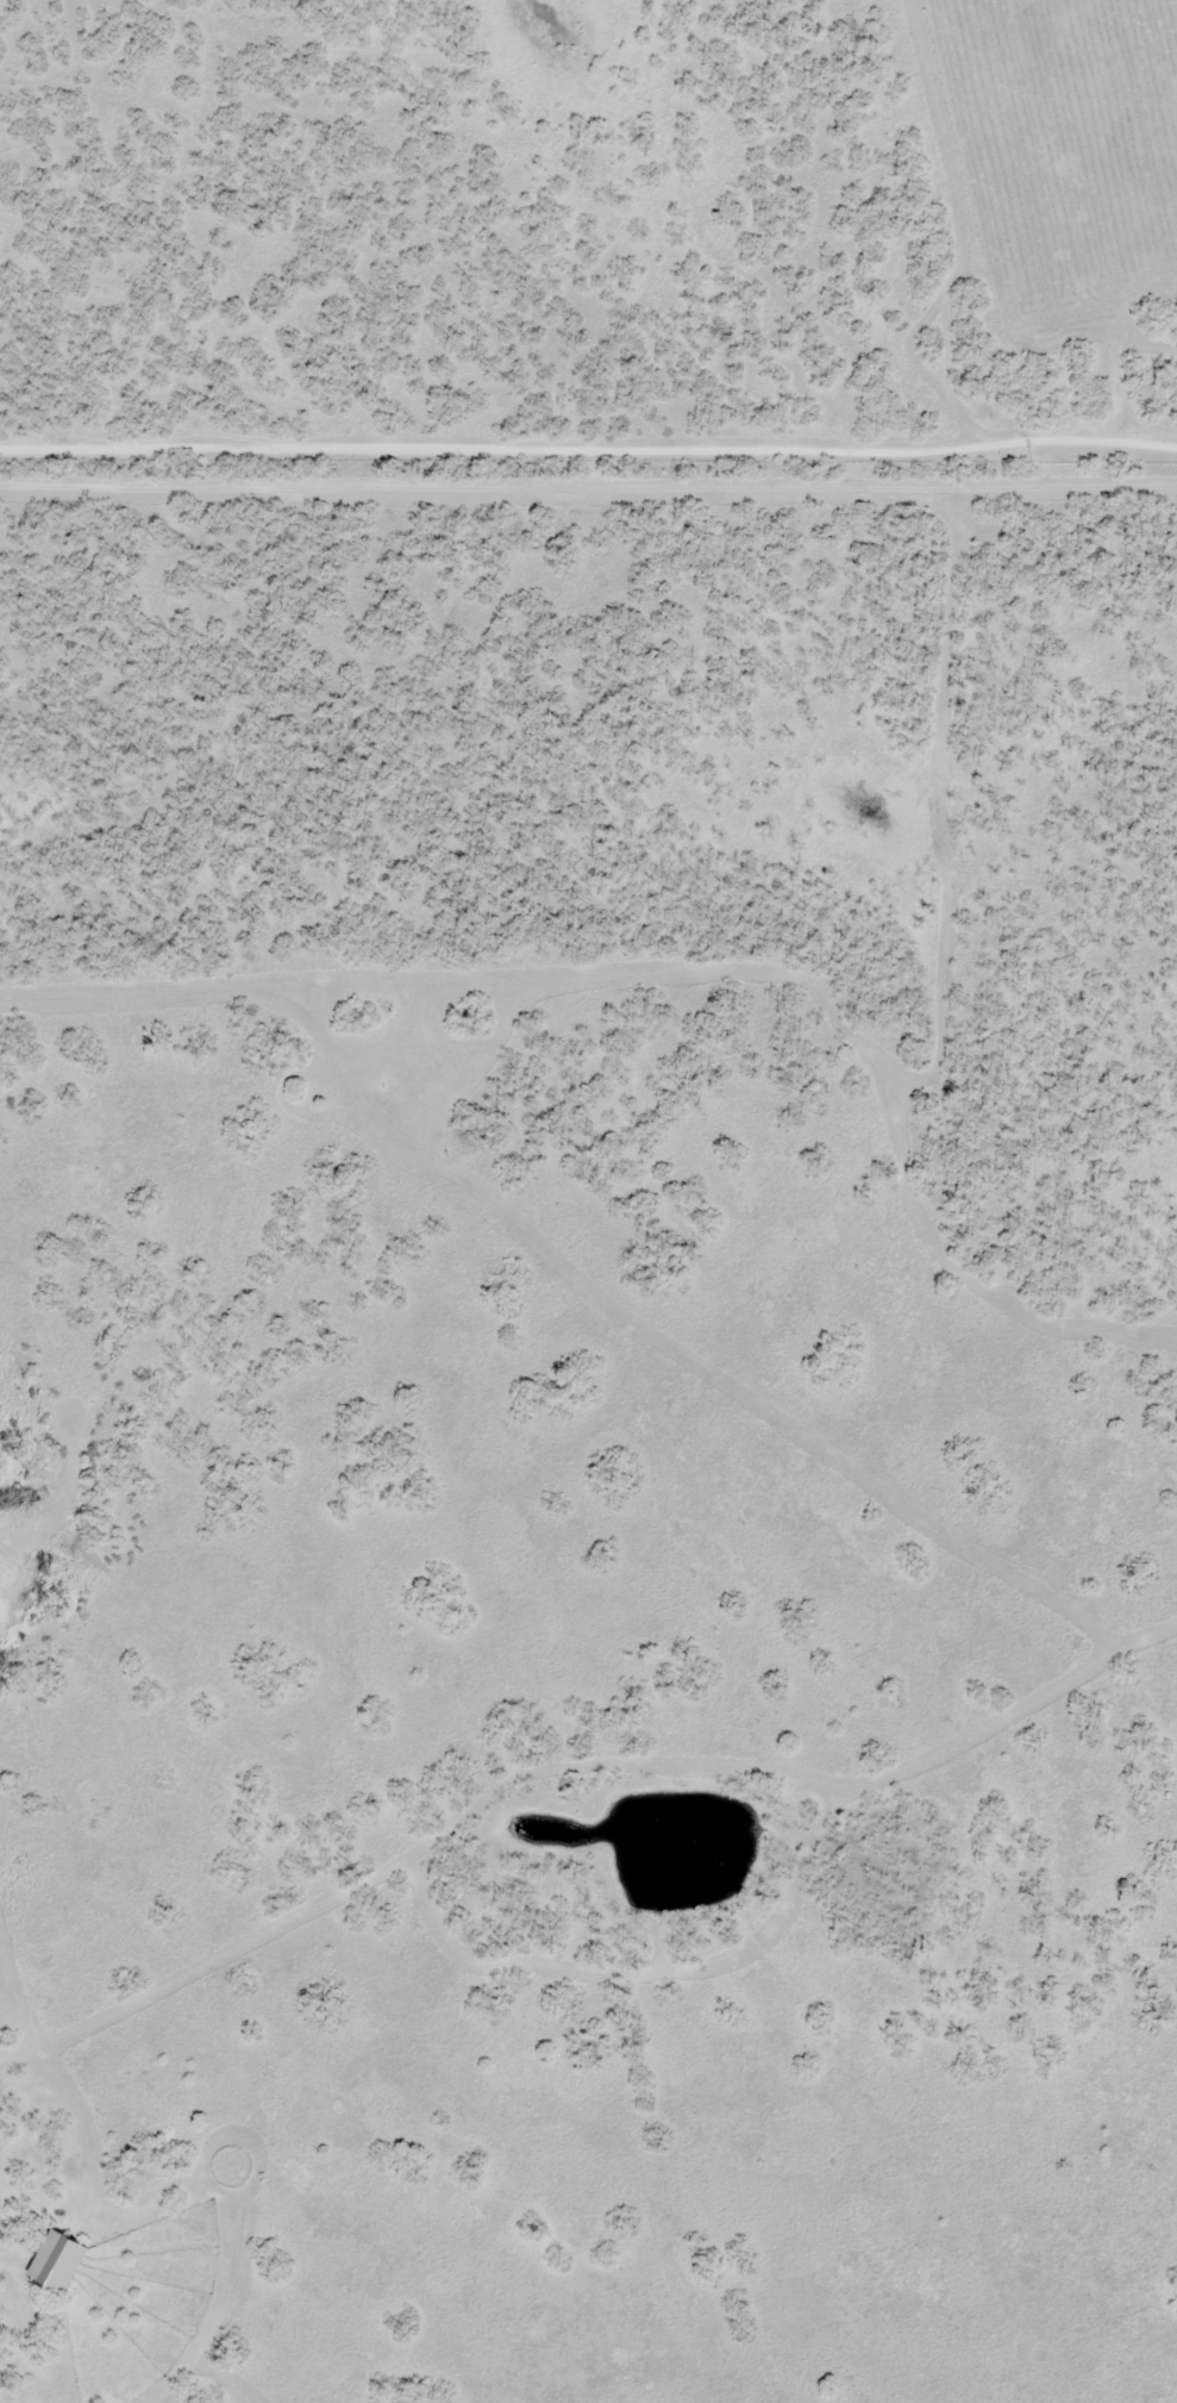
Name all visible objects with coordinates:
road: (588, 458)
building: (57, 2260)

